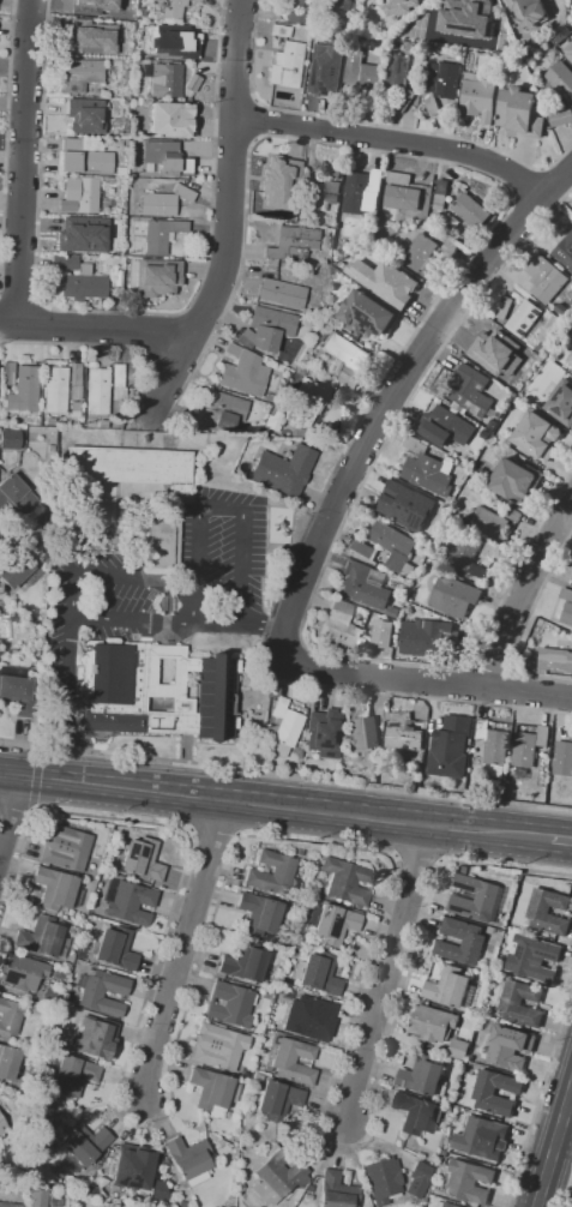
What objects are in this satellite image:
building: (195, 0)
road: (13, 2)
building: (344, 5)
building: (95, 7)
building: (170, 7)
building: (401, 7)
building: (303, 11)
building: (529, 12)
building: (462, 14)
building: (279, 30)
building: (95, 36)
building: (318, 36)
building: (163, 37)
building: (568, 49)
building: (188, 50)
building: (285, 65)
building: (325, 68)
building: (361, 71)
building: (80, 76)
building: (126, 76)
building: (444, 78)
building: (162, 79)
building: (398, 79)
building: (561, 80)
building: (189, 84)
building: (480, 96)
building: (360, 98)
building: (430, 103)
building: (522, 113)
building: (84, 116)
building: (561, 116)
building: (170, 120)
road: (231, 137)
road: (396, 142)
road: (6, 151)
road: (41, 152)
building: (165, 158)
building: (86, 160)
road: (419, 160)
road: (24, 163)
building: (327, 170)
building: (270, 176)
building: (398, 178)
building: (361, 191)
building: (78, 196)
building: (319, 196)
building: (440, 196)
building: (402, 198)
building: (163, 202)
building: (470, 211)
building: (276, 215)
road: (233, 222)
road: (211, 230)
building: (73, 233)
building: (156, 233)
building: (293, 242)
building: (565, 251)
building: (421, 257)
building: (543, 275)
building: (156, 277)
building: (78, 278)
building: (385, 282)
building: (281, 290)
road: (19, 302)
building: (504, 310)
building: (366, 314)
building: (523, 317)
road: (195, 320)
road: (37, 324)
building: (266, 329)
road: (96, 332)
road: (8, 342)
road: (128, 348)
building: (496, 352)
building: (570, 359)
road: (180, 360)
building: (345, 360)
building: (571, 371)
building: (6, 373)
building: (239, 373)
building: (74, 374)
building: (116, 383)
building: (54, 390)
building: (469, 390)
building: (23, 391)
building: (97, 391)
road: (391, 396)
building: (561, 402)
building: (301, 404)
building: (217, 413)
building: (329, 419)
building: (272, 422)
building: (445, 427)
building: (536, 434)
building: (8, 439)
building: (450, 450)
building: (127, 467)
building: (282, 469)
building: (425, 469)
building: (513, 480)
building: (17, 498)
building: (404, 505)
park: (90, 520)
building: (488, 522)
building: (50, 523)
building: (161, 541)
building: (392, 545)
building: (362, 548)
road: (197, 554)
building: (469, 558)
building: (14, 570)
road: (113, 576)
building: (365, 584)
road: (523, 590)
building: (566, 594)
building: (453, 596)
parking lot: (100, 608)
building: (392, 612)
building: (566, 613)
road: (260, 621)
road: (217, 624)
building: (342, 626)
building: (381, 633)
building: (422, 637)
building: (554, 660)
road: (422, 678)
road: (323, 687)
building: (153, 691)
building: (18, 695)
road: (67, 699)
building: (283, 728)
building: (323, 733)
building: (362, 733)
building: (403, 733)
building: (571, 735)
road: (30, 741)
road: (40, 746)
building: (529, 746)
building: (492, 747)
building: (447, 752)
building: (562, 758)
road: (163, 761)
road: (35, 779)
road: (113, 785)
road: (420, 793)
road: (17, 806)
road: (34, 811)
road: (10, 815)
road: (390, 819)
road: (248, 836)
road: (562, 841)
building: (64, 847)
building: (139, 859)
building: (271, 873)
building: (347, 882)
building: (56, 890)
building: (475, 897)
building: (128, 901)
building: (548, 912)
building: (258, 914)
building: (332, 923)
building: (42, 937)
building: (472, 943)
building: (114, 948)
road: (182, 948)
building: (534, 957)
building: (243, 962)
building: (60, 972)
building: (318, 973)
road: (386, 973)
building: (22, 974)
building: (451, 987)
building: (102, 991)
building: (50, 998)
building: (520, 1003)
building: (230, 1004)
building: (8, 1019)
building: (309, 1019)
building: (434, 1023)
building: (92, 1038)
building: (507, 1045)
building: (218, 1046)
building: (459, 1049)
building: (293, 1061)
building: (7, 1062)
building: (71, 1074)
building: (423, 1076)
building: (212, 1091)
building: (483, 1091)
road: (538, 1094)
building: (277, 1100)
building: (416, 1113)
building: (2, 1127)
building: (482, 1137)
building: (82, 1146)
road: (554, 1148)
building: (188, 1160)
building: (132, 1166)
building: (277, 1177)
building: (383, 1179)
building: (417, 1179)
building: (470, 1182)
building: (159, 1191)
building: (336, 1191)
road: (567, 1193)
building: (36, 1197)
building: (53, 1200)
building: (10, 1205)
building: (444, 1205)
building: (465, 1206)

